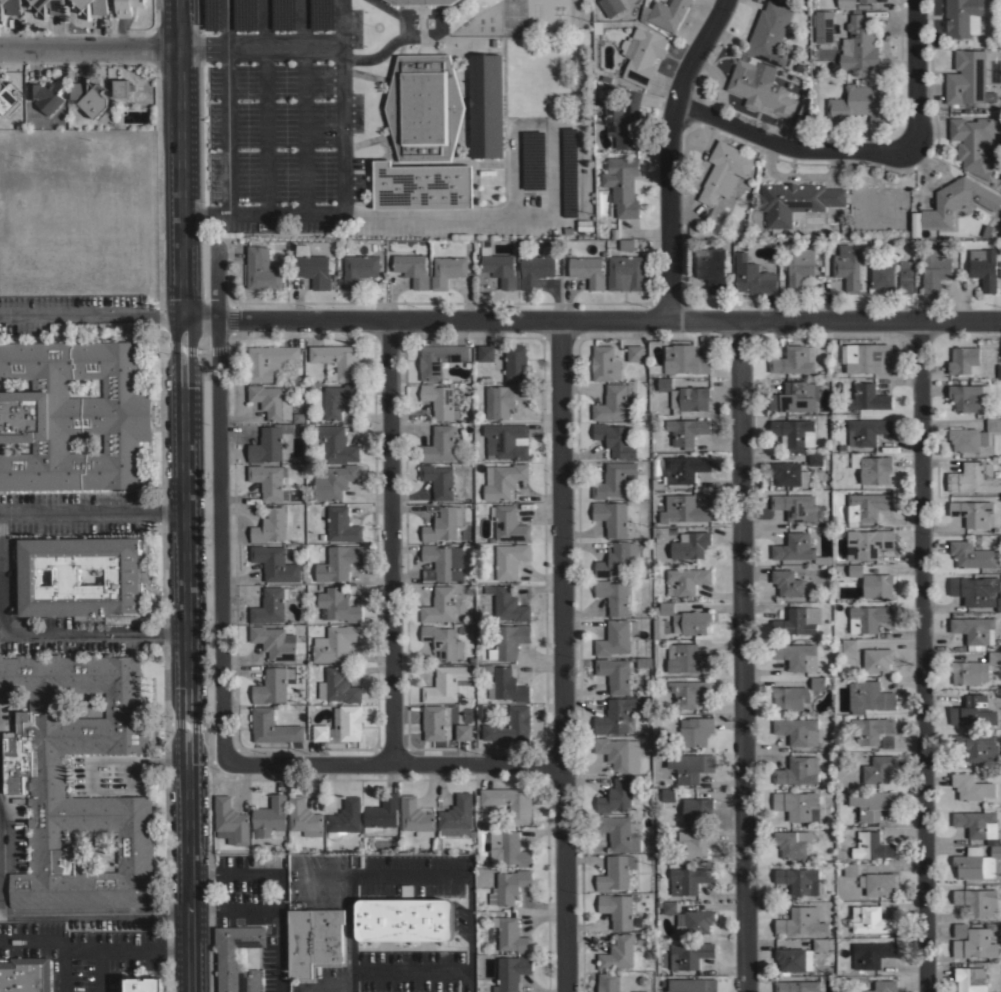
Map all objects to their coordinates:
building: (420, 1)
building: (790, 1)
building: (866, 1)
building: (2, 2)
building: (83, 3)
building: (845, 3)
building: (38, 4)
building: (612, 6)
building: (13, 7)
building: (56, 7)
building: (100, 7)
building: (127, 7)
building: (665, 13)
building: (962, 17)
road: (338, 22)
building: (823, 25)
building: (597, 27)
building: (769, 33)
road: (88, 46)
building: (858, 46)
building: (643, 55)
road: (914, 72)
building: (967, 79)
building: (120, 87)
building: (760, 87)
building: (45, 95)
building: (90, 98)
building: (9, 99)
building: (861, 100)
road: (302, 106)
building: (424, 106)
building: (486, 106)
road: (263, 107)
road: (227, 108)
building: (804, 112)
building: (622, 117)
road: (340, 128)
building: (974, 144)
road: (789, 145)
road: (669, 152)
building: (724, 171)
building: (622, 184)
building: (421, 185)
building: (795, 201)
building: (956, 201)
road: (554, 208)
building: (915, 224)
building: (626, 244)
building: (799, 266)
building: (847, 266)
building: (496, 267)
building: (984, 267)
building: (314, 268)
building: (412, 268)
building: (261, 269)
building: (358, 269)
building: (535, 269)
building: (934, 269)
building: (447, 270)
building: (588, 270)
building: (713, 270)
building: (627, 272)
building: (752, 276)
building: (882, 276)
building: (905, 276)
road: (90, 313)
road: (591, 317)
building: (485, 352)
building: (636, 353)
building: (871, 358)
building: (439, 359)
building: (685, 359)
building: (794, 359)
building: (269, 360)
building: (337, 361)
building: (515, 361)
building: (964, 361)
building: (605, 363)
building: (998, 371)
building: (795, 396)
building: (967, 396)
building: (685, 397)
building: (868, 397)
building: (339, 399)
building: (503, 399)
building: (272, 400)
building: (440, 400)
building: (615, 403)
building: (72, 415)
building: (686, 430)
building: (866, 430)
building: (795, 432)
building: (972, 436)
building: (615, 439)
building: (506, 440)
building: (269, 443)
building: (335, 444)
building: (439, 444)
building: (815, 458)
building: (873, 467)
building: (682, 469)
building: (790, 474)
building: (973, 478)
building: (613, 479)
building: (268, 480)
building: (438, 480)
building: (504, 480)
building: (335, 481)
road: (183, 495)
building: (796, 506)
building: (866, 506)
road: (219, 507)
building: (685, 508)
road: (91, 510)
building: (972, 512)
building: (611, 516)
building: (443, 523)
building: (509, 523)
building: (342, 525)
building: (270, 526)
building: (662, 533)
road: (0, 537)
road: (392, 540)
building: (868, 543)
building: (691, 544)
building: (797, 548)
building: (972, 554)
building: (510, 559)
building: (617, 559)
building: (338, 562)
building: (442, 562)
building: (276, 563)
building: (855, 569)
building: (123, 576)
building: (686, 580)
building: (788, 582)
building: (877, 584)
building: (975, 589)
building: (613, 595)
building: (507, 603)
building: (999, 604)
building: (270, 605)
building: (337, 605)
building: (440, 605)
building: (868, 617)
building: (687, 618)
building: (798, 620)
building: (481, 630)
building: (974, 631)
road: (91, 632)
building: (617, 637)
building: (509, 640)
building: (443, 641)
building: (275, 642)
building: (336, 642)
building: (849, 645)
road: (743, 654)
road: (561, 655)
road: (921, 655)
building: (797, 656)
building: (688, 658)
building: (877, 659)
building: (643, 662)
building: (973, 669)
building: (616, 675)
building: (817, 682)
building: (446, 683)
building: (506, 685)
building: (271, 686)
building: (338, 686)
building: (688, 691)
building: (869, 696)
building: (790, 697)
building: (481, 711)
building: (973, 711)
building: (617, 714)
building: (433, 722)
building: (341, 725)
building: (510, 725)
building: (273, 726)
building: (798, 730)
building: (463, 731)
building: (696, 731)
building: (873, 731)
building: (976, 747)
building: (619, 753)
road: (139, 757)
road: (396, 763)
building: (690, 765)
building: (878, 769)
building: (798, 770)
building: (47, 784)
building: (971, 787)
building: (668, 794)
building: (615, 796)
building: (509, 801)
building: (873, 803)
building: (797, 805)
building: (697, 809)
building: (380, 813)
building: (269, 816)
building: (416, 816)
building: (457, 816)
building: (304, 817)
building: (344, 818)
building: (230, 821)
building: (976, 823)
building: (619, 831)
building: (695, 842)
building: (792, 842)
building: (872, 845)
building: (509, 848)
building: (976, 862)
building: (850, 869)
building: (615, 872)
road: (410, 873)
road: (321, 874)
road: (202, 875)
building: (689, 879)
building: (798, 880)
building: (877, 883)
building: (509, 886)
building: (407, 890)
road: (282, 892)
road: (324, 898)
building: (976, 900)
building: (669, 906)
building: (616, 909)
road: (202, 910)
road: (38, 911)
building: (404, 919)
building: (870, 919)
building: (694, 921)
building: (801, 921)
parking lot: (344, 923)
road: (471, 923)
building: (959, 930)
road: (350, 933)
building: (510, 934)
building: (314, 941)
building: (820, 944)
building: (975, 945)
road: (91, 947)
building: (234, 952)
building: (617, 953)
building: (689, 954)
building: (871, 954)
building: (794, 959)
road: (62, 969)
road: (100, 970)
road: (408, 972)
building: (511, 972)
building: (25, 974)
building: (969, 979)
building: (250, 980)
road: (467, 982)
building: (608, 982)
building: (142, 984)
building: (692, 985)
building: (798, 986)
building: (884, 986)
road: (326, 988)
building: (641, 991)

